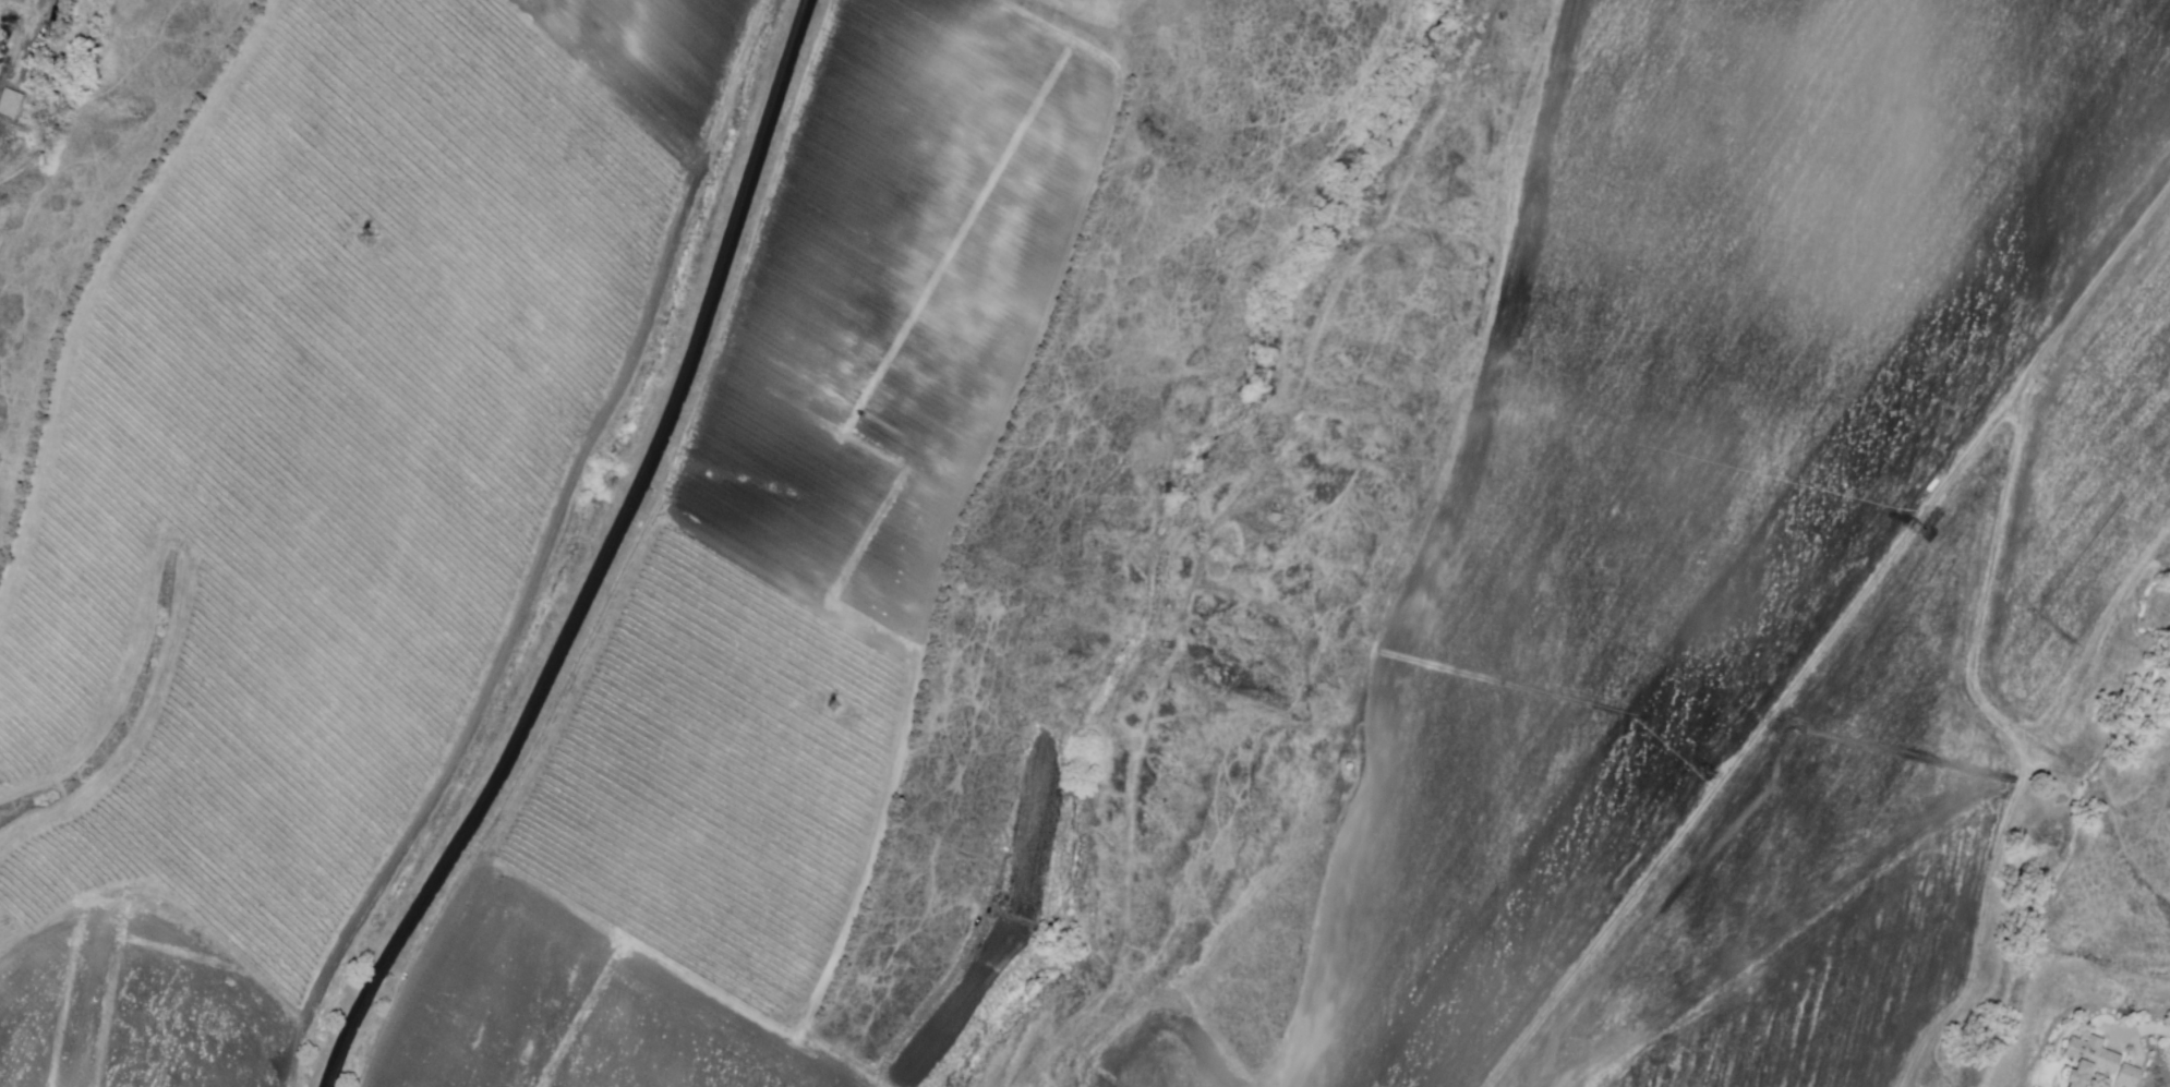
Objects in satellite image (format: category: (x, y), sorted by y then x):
power tower: (367, 239)
road: (607, 563)
road: (1832, 639)
power tower: (837, 711)
road: (2144, 1030)
building: (2101, 1064)

